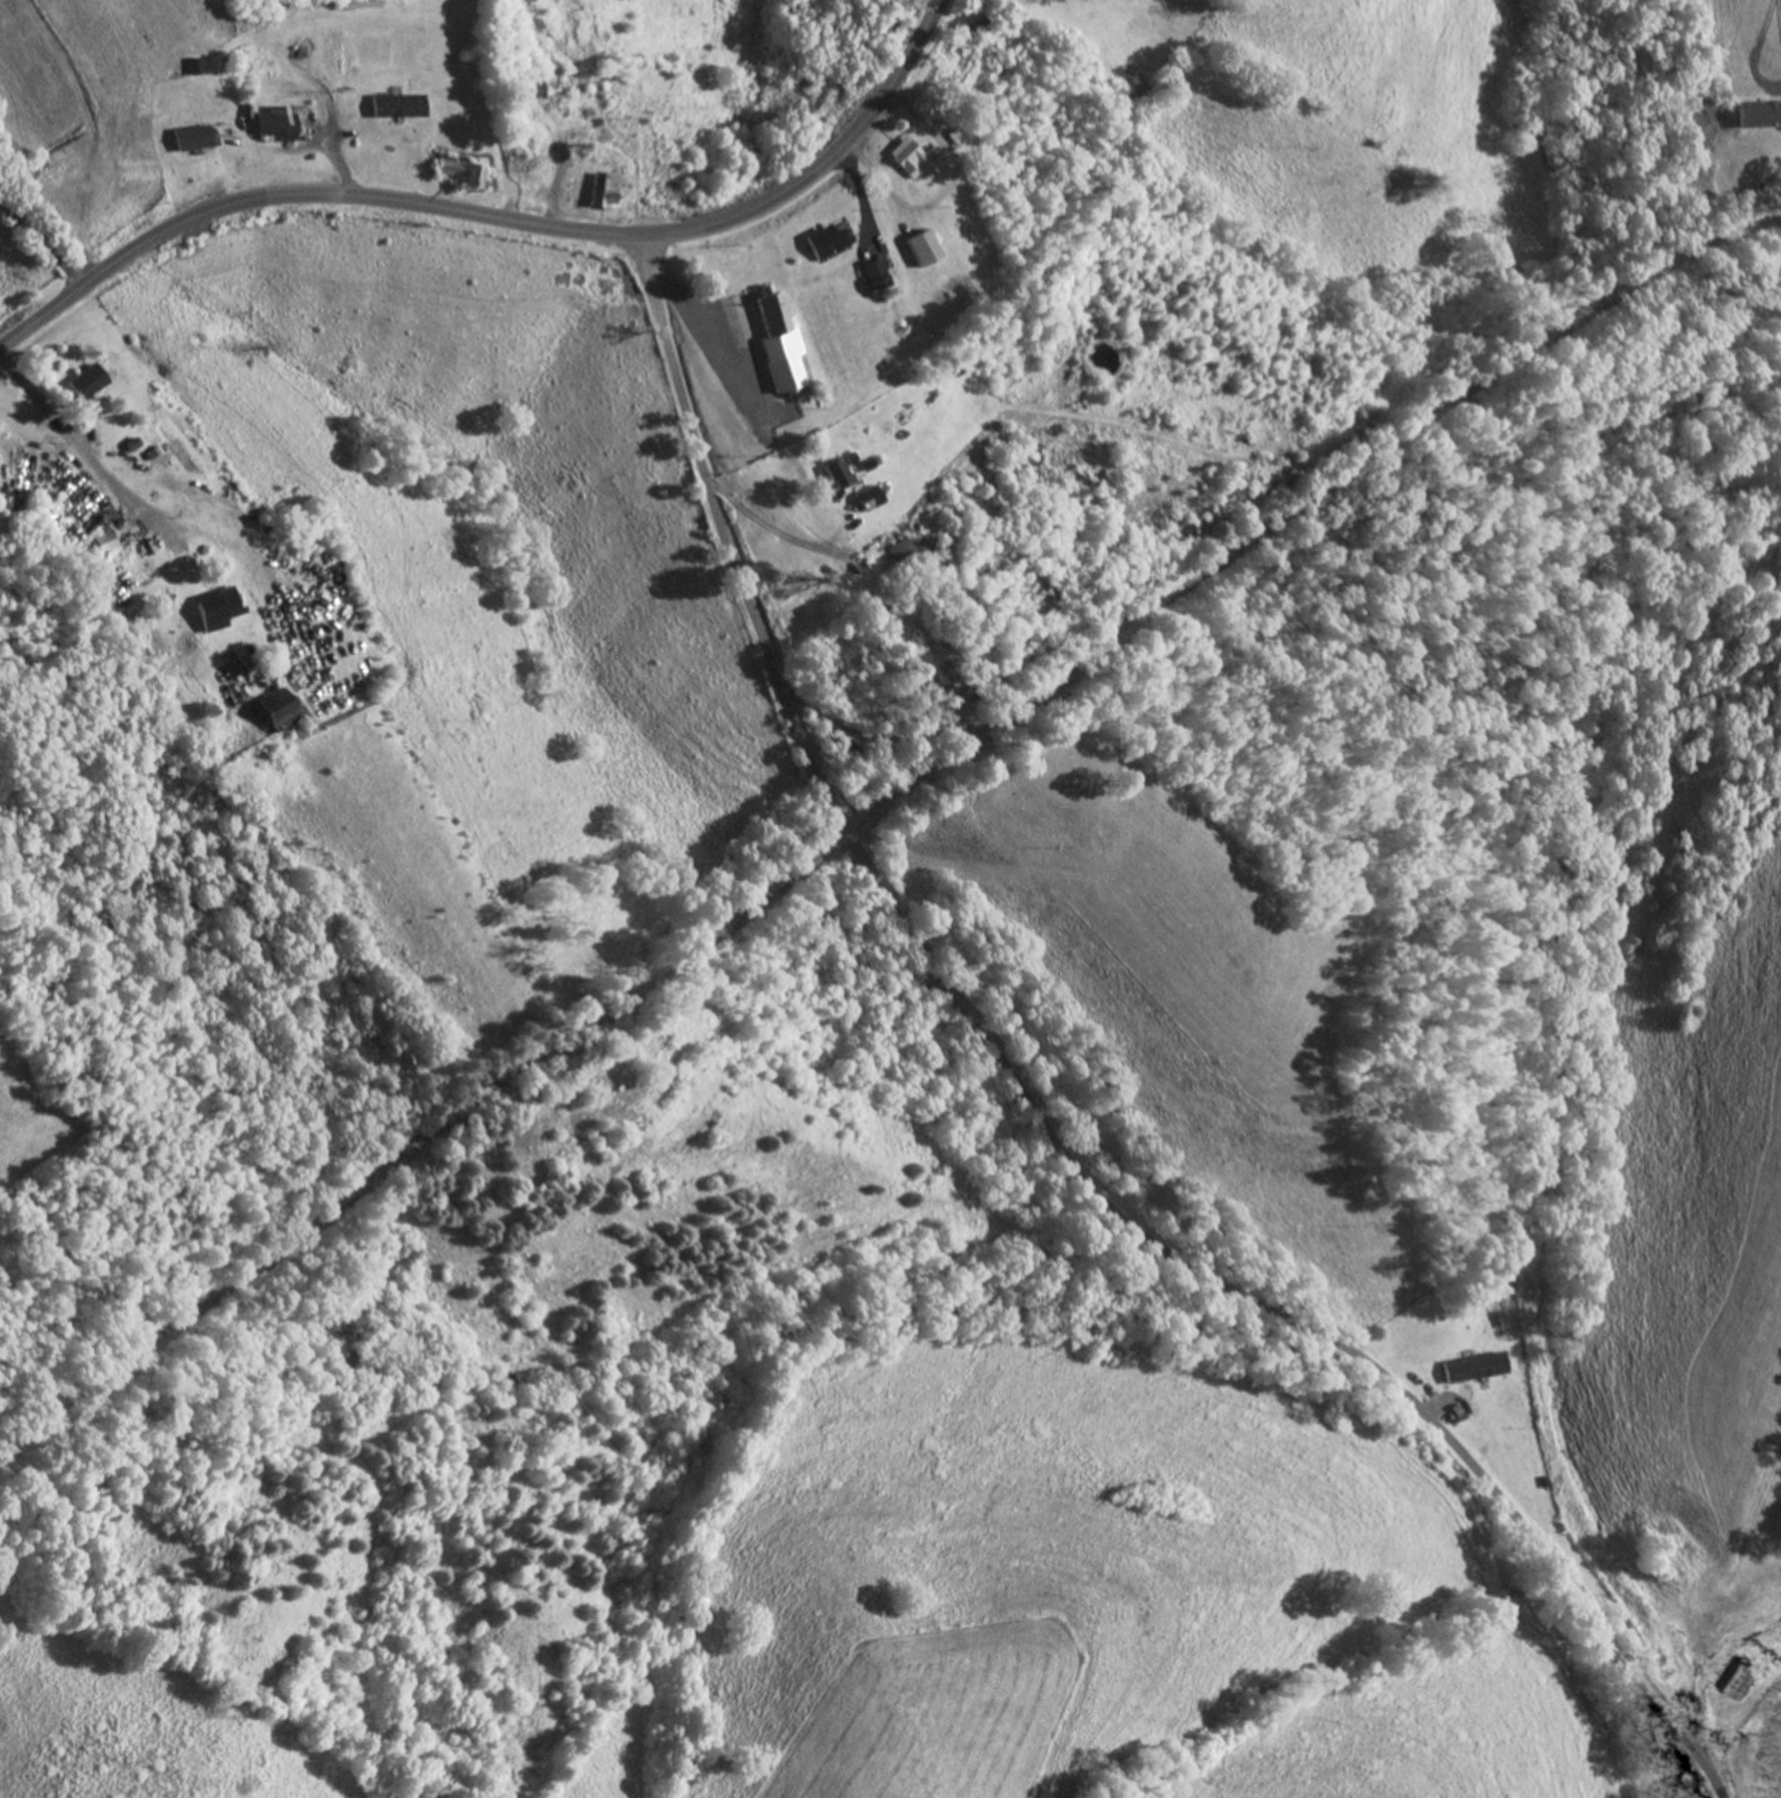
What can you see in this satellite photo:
building: (885, 23)
building: (972, 45)
building: (551, 86)
building: (403, 107)
building: (281, 127)
building: (527, 138)
building: (197, 139)
building: (911, 158)
building: (464, 174)
building: (603, 192)
road: (498, 219)
building: (828, 243)
building: (926, 249)
building: (879, 277)
building: (780, 327)
building: (39, 458)
building: (846, 470)
building: (874, 498)
building: (113, 545)
building: (906, 552)
building: (224, 607)
building: (941, 673)
building: (285, 709)
railway: (880, 810)
road: (1039, 1117)
building: (1478, 1366)
building: (1743, 1677)

